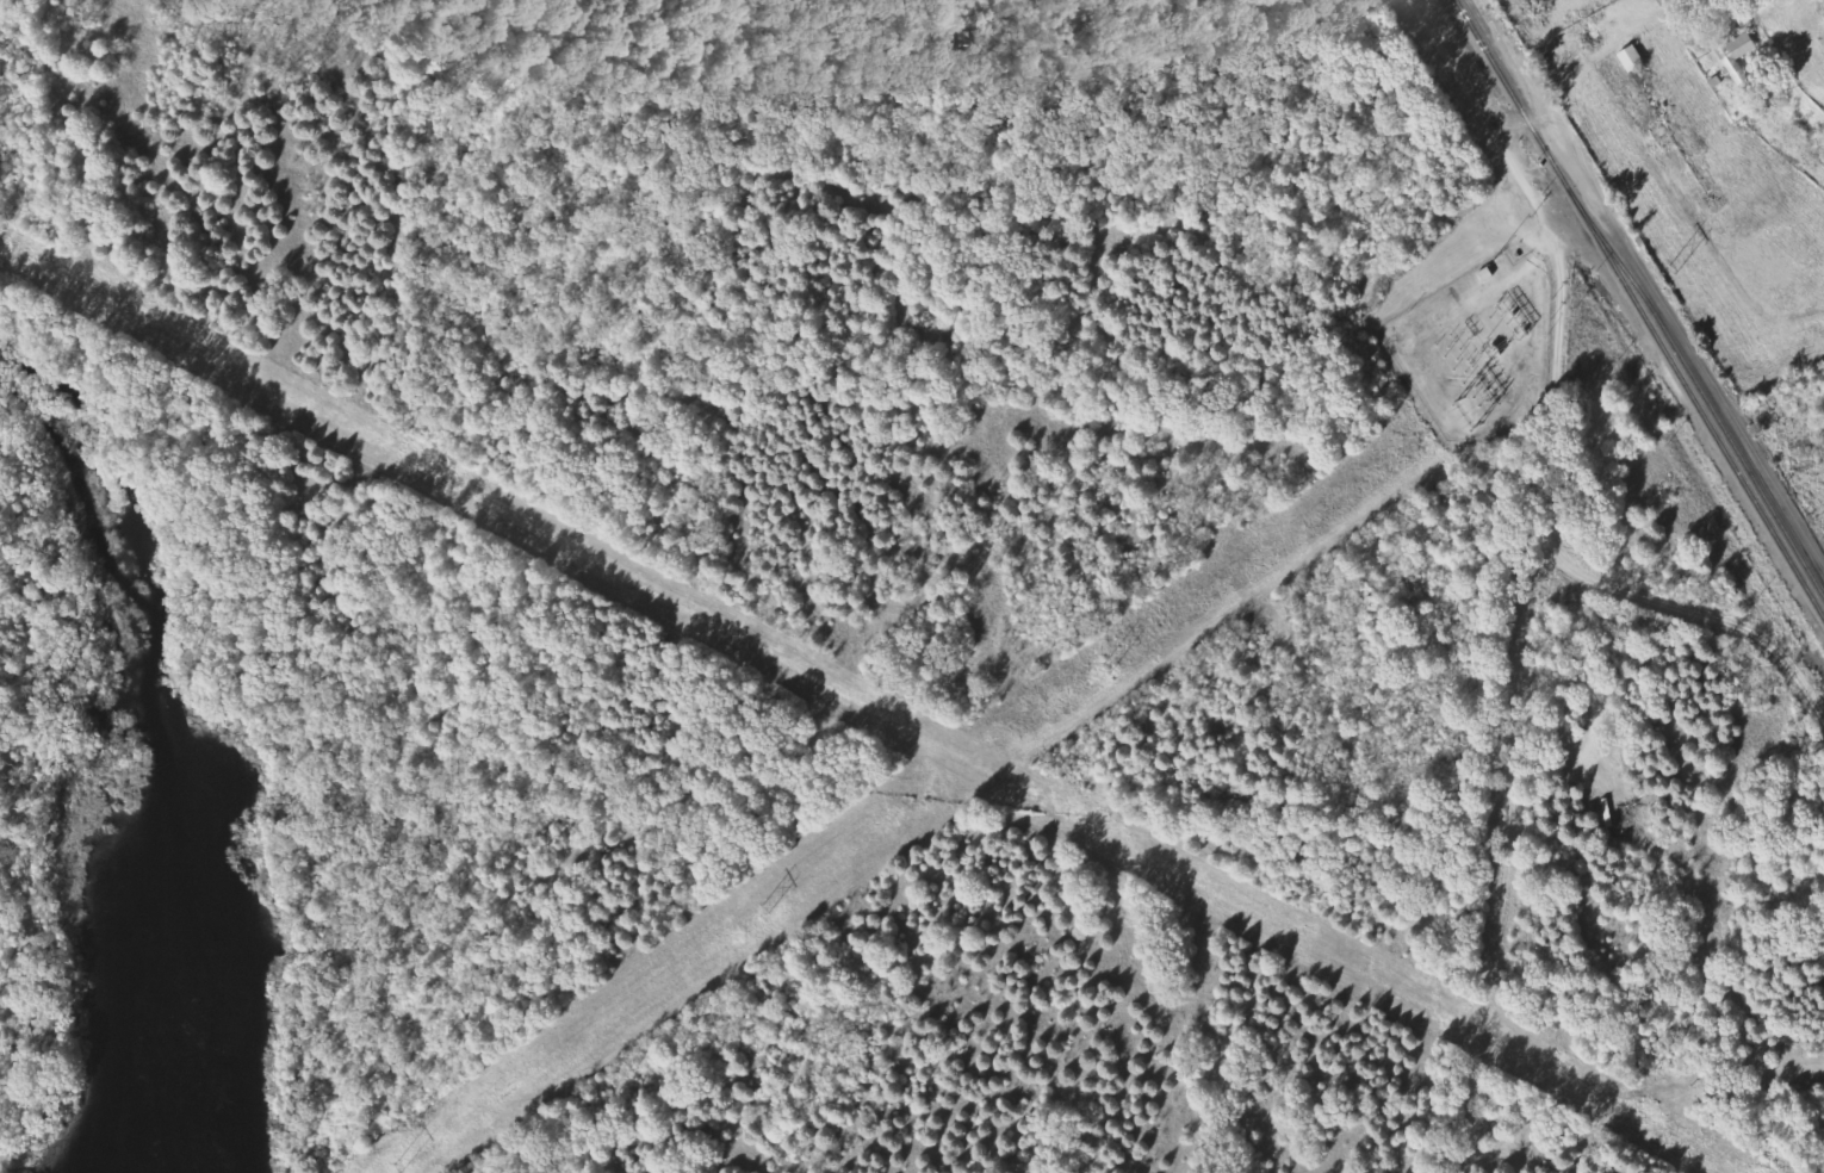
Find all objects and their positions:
building: (1741, 51)
building: (1633, 60)
power tower: (1671, 268)
railway: (1638, 310)
power substation: (1478, 348)
road: (1527, 380)
railway: (1707, 402)
power tower: (1108, 666)
power tower: (765, 906)
power tower: (398, 1166)

